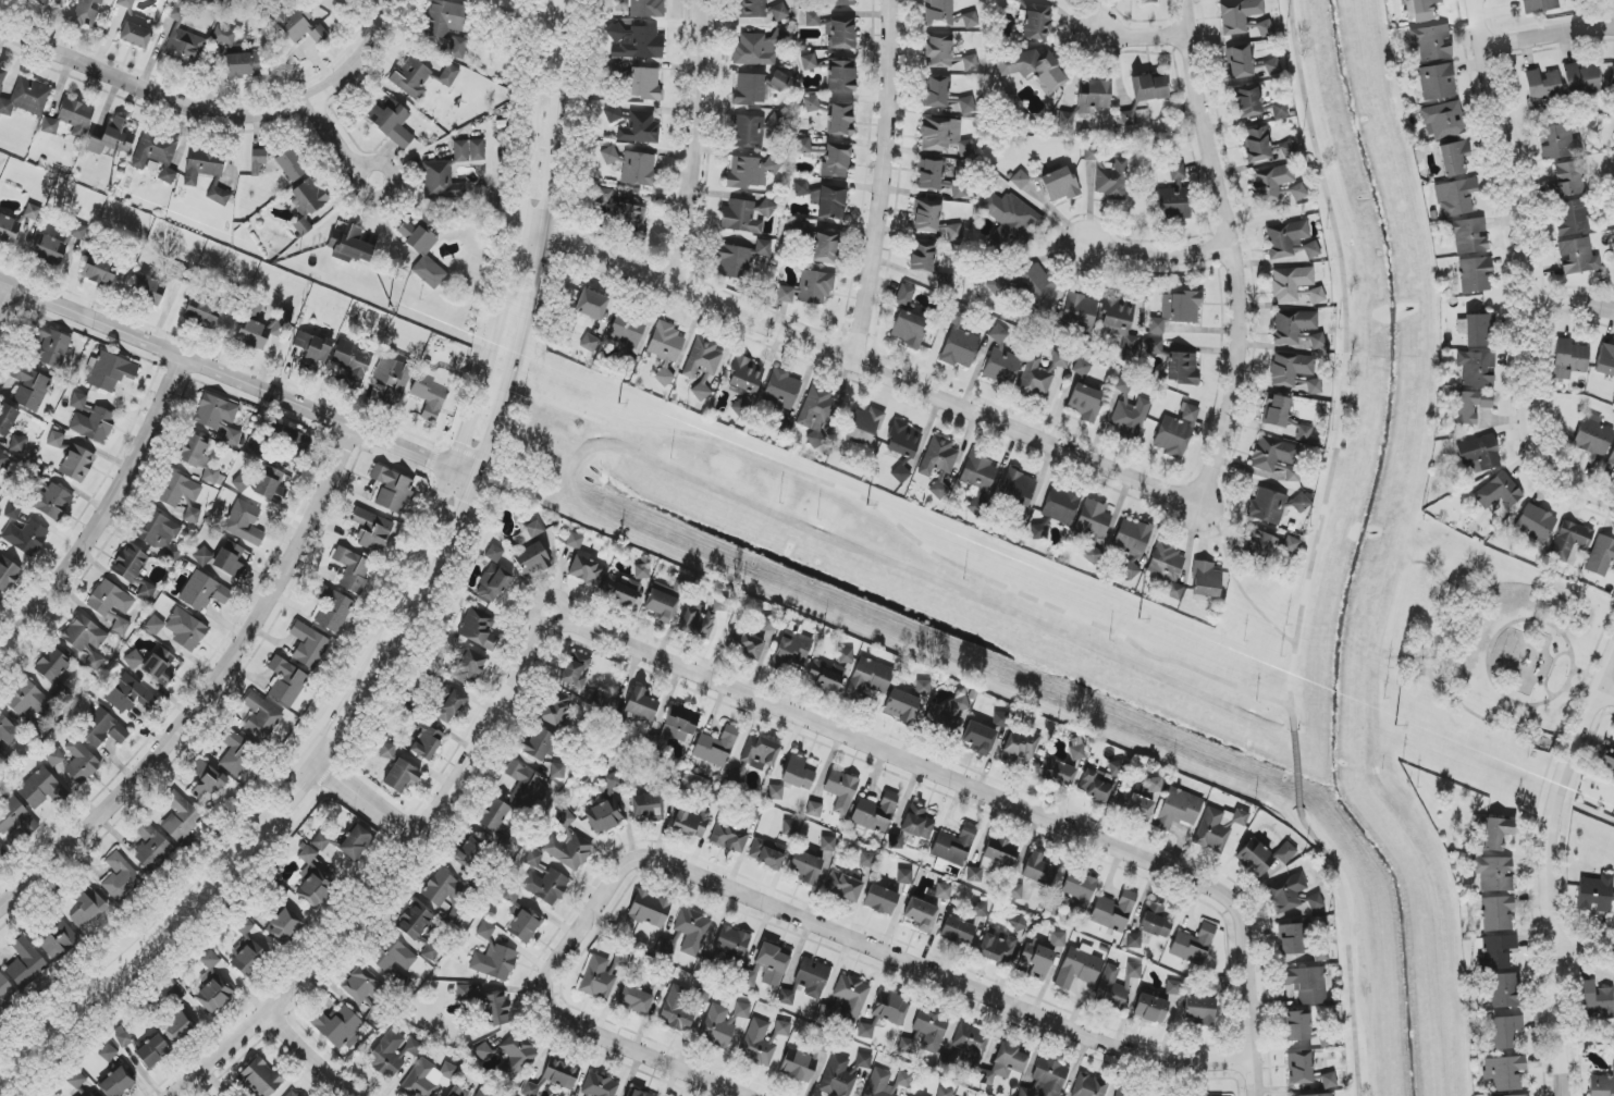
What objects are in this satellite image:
building: (342, 0)
building: (1019, 0)
building: (41, 1)
building: (223, 1)
building: (1148, 1)
building: (841, 2)
building: (126, 3)
building: (1541, 5)
building: (646, 8)
building: (752, 9)
building: (1425, 10)
building: (87, 12)
building: (779, 12)
building: (937, 13)
building: (1239, 15)
building: (445, 19)
building: (812, 19)
building: (1037, 23)
building: (299, 24)
building: (1265, 28)
road: (1554, 29)
building: (842, 33)
building: (135, 35)
road: (1138, 35)
building: (224, 36)
building: (181, 39)
building: (633, 41)
building: (1430, 42)
building: (458, 48)
building: (759, 48)
building: (938, 50)
building: (1239, 61)
building: (809, 62)
building: (970, 62)
building: (244, 65)
building: (1272, 67)
building: (1033, 69)
building: (2, 74)
building: (448, 75)
building: (841, 76)
building: (411, 77)
building: (1580, 78)
building: (778, 81)
building: (1437, 82)
building: (1612, 83)
building: (644, 84)
building: (1542, 85)
building: (1149, 88)
building: (750, 89)
building: (942, 96)
building: (1092, 96)
building: (26, 97)
building: (1247, 101)
building: (811, 103)
road: (213, 109)
building: (1279, 110)
building: (1133, 118)
building: (70, 119)
building: (839, 120)
building: (1064, 121)
building: (1443, 121)
building: (391, 122)
building: (634, 125)
building: (748, 132)
building: (944, 137)
building: (112, 139)
road: (340, 141)
building: (1557, 141)
road: (689, 143)
building: (1257, 144)
building: (802, 146)
building: (468, 150)
building: (1287, 150)
building: (1087, 151)
building: (156, 153)
building: (609, 156)
building: (1454, 158)
building: (257, 160)
building: (836, 160)
building: (291, 164)
building: (639, 169)
building: (206, 171)
building: (752, 171)
building: (1570, 176)
building: (937, 178)
road: (880, 180)
building: (1020, 180)
building: (441, 181)
building: (1271, 183)
building: (1059, 185)
building: (1298, 192)
building: (603, 196)
building: (1174, 197)
building: (1455, 197)
building: (824, 199)
building: (308, 202)
building: (33, 212)
building: (744, 215)
building: (1573, 218)
building: (1009, 220)
building: (630, 221)
building: (932, 221)
building: (9, 229)
building: (799, 229)
building: (1468, 235)
building: (1290, 241)
building: (57, 244)
building: (349, 246)
building: (825, 247)
building: (422, 250)
road: (1230, 251)
road: (1156, 253)
building: (1577, 256)
building: (922, 257)
building: (739, 259)
building: (97, 270)
road: (1533, 271)
building: (180, 273)
building: (1475, 274)
building: (946, 281)
building: (1035, 283)
building: (996, 285)
building: (1296, 286)
building: (809, 288)
building: (149, 291)
building: (904, 296)
road: (1575, 298)
building: (591, 305)
building: (1176, 310)
building: (201, 312)
building: (1080, 316)
building: (1293, 325)
building: (1120, 327)
building: (908, 329)
building: (262, 330)
building: (627, 330)
building: (1476, 330)
building: (1317, 341)
building: (665, 342)
building: (590, 343)
building: (959, 346)
building: (1154, 346)
building: (52, 347)
building: (312, 348)
building: (1000, 359)
building: (1569, 359)
building: (352, 360)
building: (1059, 360)
building: (1605, 360)
building: (702, 364)
road: (1343, 364)
building: (1082, 368)
building: (1182, 368)
building: (1477, 368)
road: (875, 369)
building: (1290, 369)
building: (392, 374)
building: (664, 375)
building: (1034, 378)
road: (237, 383)
building: (743, 383)
building: (29, 386)
building: (1314, 386)
building: (781, 391)
building: (430, 396)
building: (78, 401)
building: (1084, 402)
building: (1470, 406)
building: (214, 411)
building: (1277, 411)
building: (816, 412)
building: (1129, 412)
building: (7, 419)
building: (94, 424)
building: (864, 426)
building: (1175, 431)
building: (1304, 433)
building: (1593, 435)
building: (233, 436)
building: (56, 440)
building: (902, 440)
building: (289, 443)
building: (17, 444)
building: (1479, 452)
building: (1272, 454)
building: (197, 456)
building: (1612, 457)
building: (2, 461)
building: (938, 463)
building: (77, 464)
building: (1290, 471)
building: (900, 473)
building: (978, 481)
building: (241, 483)
building: (270, 485)
building: (1018, 488)
building: (392, 489)
building: (177, 490)
building: (1499, 492)
building: (51, 501)
building: (1299, 503)
building: (1061, 504)
road: (98, 505)
building: (1267, 506)
building: (13, 510)
building: (192, 515)
building: (244, 522)
building: (1536, 522)
building: (534, 528)
building: (1091, 528)
building: (372, 530)
building: (1038, 531)
building: (159, 532)
road: (905, 532)
building: (26, 537)
building: (522, 538)
building: (575, 540)
building: (1569, 540)
building: (1132, 544)
building: (1290, 545)
building: (1257, 546)
building: (494, 553)
building: (202, 556)
building: (1600, 556)
building: (230, 558)
building: (531, 559)
building: (1168, 567)
building: (133, 569)
building: (353, 569)
building: (587, 570)
building: (641, 571)
building: (8, 574)
building: (1207, 580)
road: (1235, 582)
building: (493, 583)
building: (202, 592)
road: (398, 594)
building: (624, 594)
building: (664, 600)
building: (720, 603)
building: (112, 605)
building: (331, 607)
road: (418, 613)
building: (698, 621)
building: (769, 624)
road: (1548, 624)
building: (155, 625)
road: (1444, 625)
building: (479, 629)
building: (186, 630)
building: (84, 635)
building: (744, 644)
building: (309, 645)
park: (1491, 646)
building: (790, 651)
building: (846, 655)
building: (133, 660)
building: (94, 661)
building: (54, 666)
building: (159, 666)
building: (469, 668)
building: (576, 669)
road: (1589, 674)
building: (825, 675)
building: (868, 677)
building: (286, 681)
road: (199, 687)
building: (922, 688)
road: (1609, 689)
building: (128, 694)
road: (1580, 694)
building: (28, 699)
building: (448, 704)
building: (641, 704)
building: (900, 705)
building: (554, 707)
building: (260, 716)
building: (944, 717)
building: (1000, 719)
building: (675, 727)
building: (103, 729)
building: (8, 730)
building: (978, 738)
building: (426, 742)
building: (537, 743)
building: (716, 747)
building: (1019, 747)
building: (387, 751)
building: (760, 752)
building: (1076, 752)
building: (237, 754)
building: (54, 758)
building: (1607, 759)
building: (81, 762)
building: (1116, 767)
road: (920, 769)
road: (1293, 769)
building: (557, 771)
building: (1057, 772)
building: (798, 773)
building: (736, 774)
building: (402, 776)
building: (206, 783)
building: (1155, 785)
building: (1096, 786)
building: (526, 787)
building: (39, 788)
building: (841, 790)
building: (775, 791)
building: (716, 796)
road: (357, 798)
building: (1135, 805)
building: (645, 806)
building: (1179, 809)
building: (814, 810)
building: (752, 812)
building: (875, 813)
building: (493, 814)
building: (15, 817)
building: (181, 817)
building: (692, 822)
building: (917, 822)
building: (1218, 827)
building: (790, 828)
building: (1491, 833)
building: (728, 837)
building: (896, 841)
building: (346, 842)
building: (827, 843)
building: (568, 845)
building: (954, 846)
building: (151, 847)
building: (2, 850)
building: (468, 852)
building: (766, 853)
building: (998, 853)
building: (533, 859)
building: (1264, 859)
building: (866, 860)
building: (804, 866)
building: (1038, 870)
road: (1560, 872)
building: (1494, 873)
road: (385, 874)
building: (974, 874)
building: (903, 876)
building: (120, 877)
building: (312, 879)
building: (546, 886)
building: (441, 887)
building: (843, 887)
building: (1079, 888)
building: (942, 891)
building: (1013, 891)
building: (1286, 892)
building: (1595, 894)
building: (880, 899)
building: (1315, 901)
building: (86, 906)
building: (649, 909)
building: (980, 909)
building: (1113, 911)
building: (1498, 913)
building: (920, 914)
building: (519, 915)
building: (455, 916)
building: (415, 921)
building: (1156, 921)
building: (1018, 924)
building: (284, 926)
road: (570, 927)
building: (485, 931)
building: (692, 931)
building: (957, 932)
road: (1588, 937)
building: (1058, 939)
building: (1291, 939)
building: (59, 940)
building: (1134, 940)
building: (732, 941)
building: (1194, 944)
building: (998, 947)
road: (1346, 947)
building: (247, 950)
building: (429, 951)
building: (1498, 951)
building: (393, 956)
building: (1037, 960)
building: (25, 962)
building: (494, 962)
building: (772, 963)
building: (1079, 966)
building: (1133, 970)
building: (751, 977)
building: (597, 978)
building: (811, 978)
building: (1308, 985)
building: (213, 986)
road: (952, 986)
building: (1173, 987)
building: (1111, 988)
building: (1213, 988)
building: (5, 989)
building: (1504, 990)
building: (366, 992)
building: (464, 992)
building: (786, 997)
building: (851, 997)
building: (1594, 998)
building: (634, 1000)
building: (891, 1008)
building: (1150, 1008)
building: (496, 1009)
building: (742, 1010)
building: (1200, 1010)
building: (826, 1012)
road: (1246, 1022)
building: (1297, 1025)
building: (716, 1026)
building: (176, 1027)
building: (337, 1027)
building: (781, 1030)
building: (865, 1031)
building: (1504, 1031)
building: (925, 1033)
building: (125, 1038)
building: (971, 1039)
building: (757, 1044)
building: (152, 1051)
building: (108, 1052)
building: (393, 1052)
road: (307, 1054)
building: (509, 1054)
building: (863, 1060)
road: (652, 1062)
building: (1005, 1064)
building: (1299, 1068)
building: (1504, 1072)
building: (839, 1076)
building: (260, 1077)
building: (427, 1077)
building: (553, 1077)
building: (76, 1080)
building: (1046, 1080)
building: (1329, 1081)
building: (888, 1082)
building: (116, 1083)
building: (599, 1085)
building: (1601, 1085)
building: (1089, 1086)
building: (457, 1092)
building: (484, 1092)
building: (945, 1092)
building: (292, 1093)
building: (640, 1093)
building: (1126, 1093)
building: (89, 1094)
building: (1317, 1095)
building: (1518, 1095)

